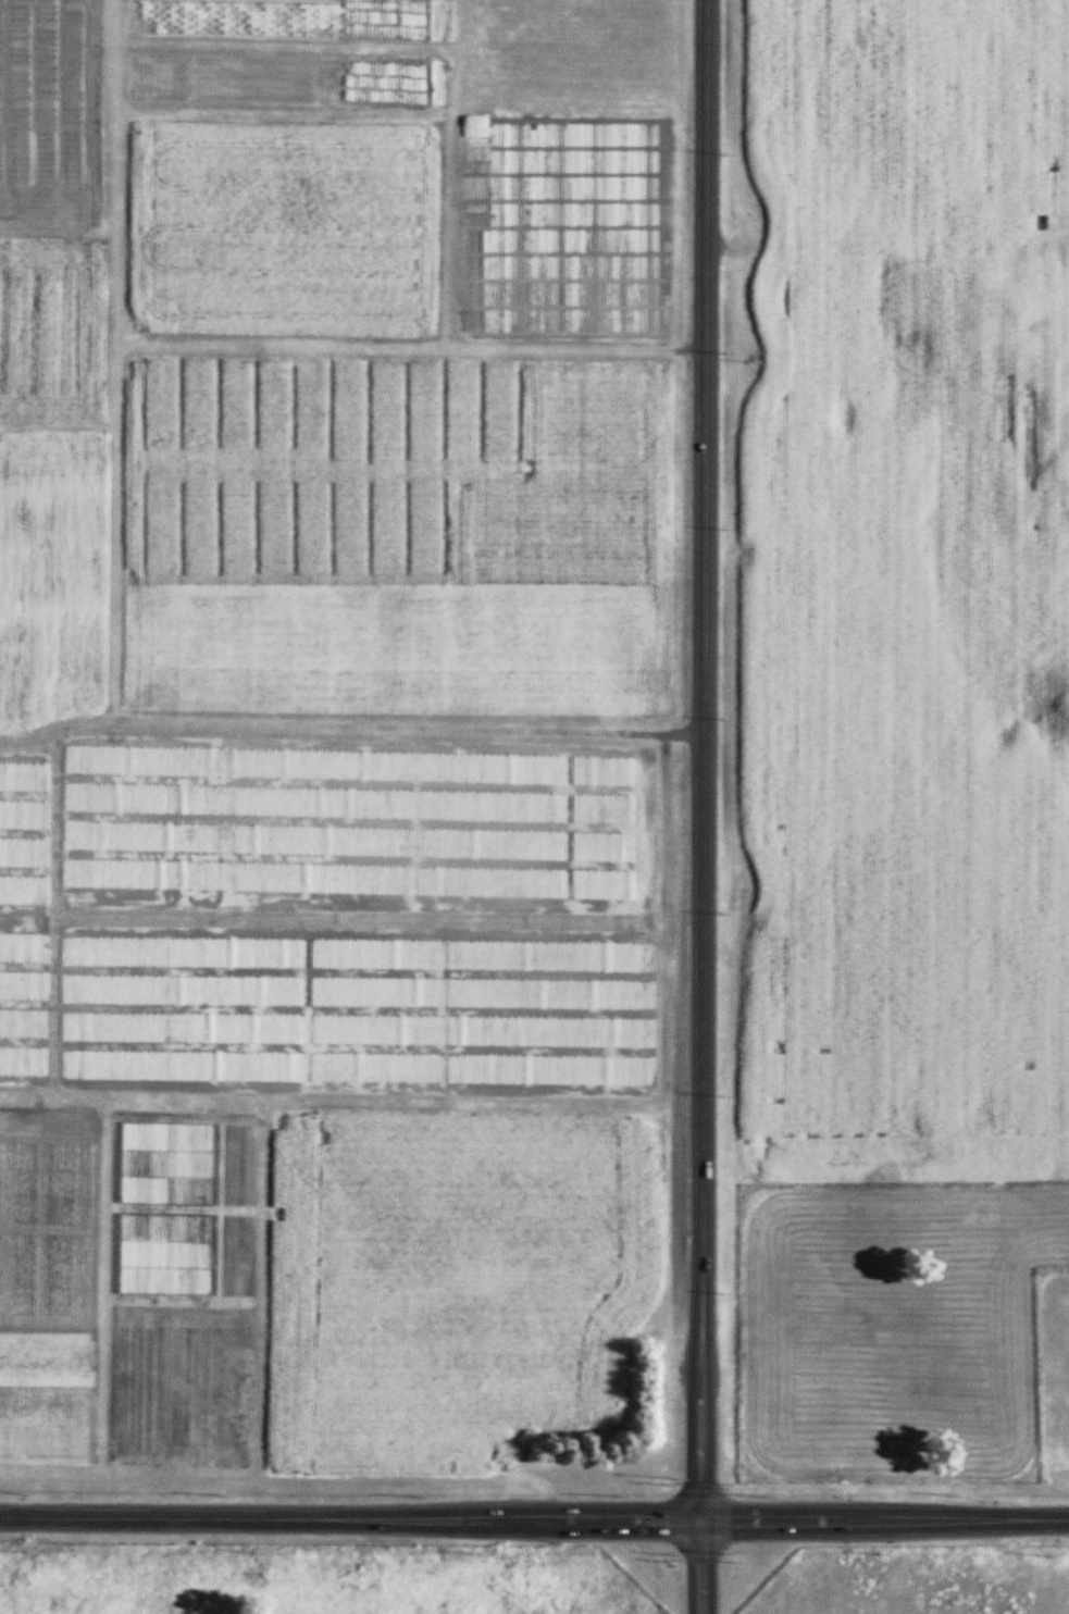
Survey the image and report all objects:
crop: (236, 16)
crop: (382, 17)
crop: (225, 77)
crop: (383, 79)
crop: (49, 111)
crop: (563, 223)
crop: (282, 226)
crop: (52, 326)
crop: (315, 459)
crop: (583, 479)
crop: (50, 574)
crop: (903, 592)
crop: (396, 642)
road: (703, 807)
crop: (347, 819)
crop: (22, 830)
crop: (22, 1002)
crop: (359, 1011)
crop: (162, 1206)
crop: (47, 1216)
crop: (455, 1272)
crop: (199, 1340)
crop: (46, 1356)
crop: (45, 1420)
road: (534, 1519)
traffic signals: (700, 1522)

